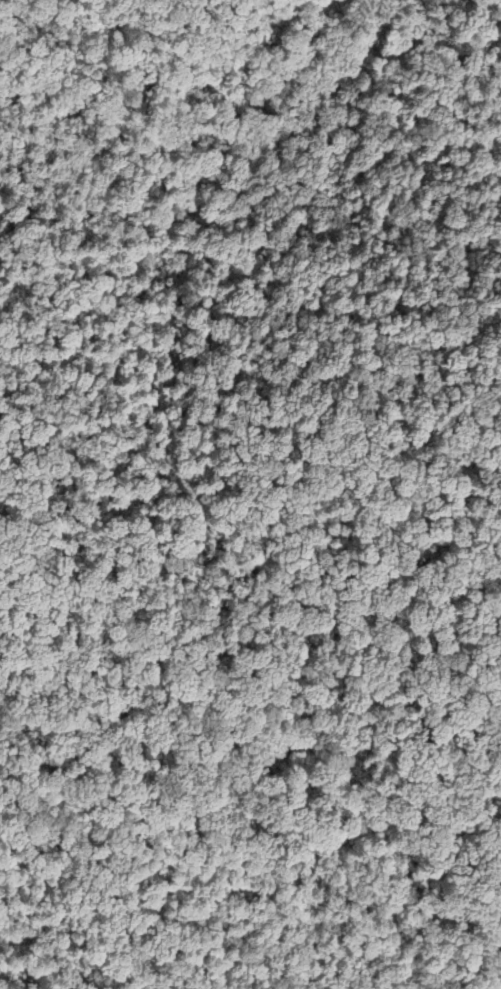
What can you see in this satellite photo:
park: (443, 957)

